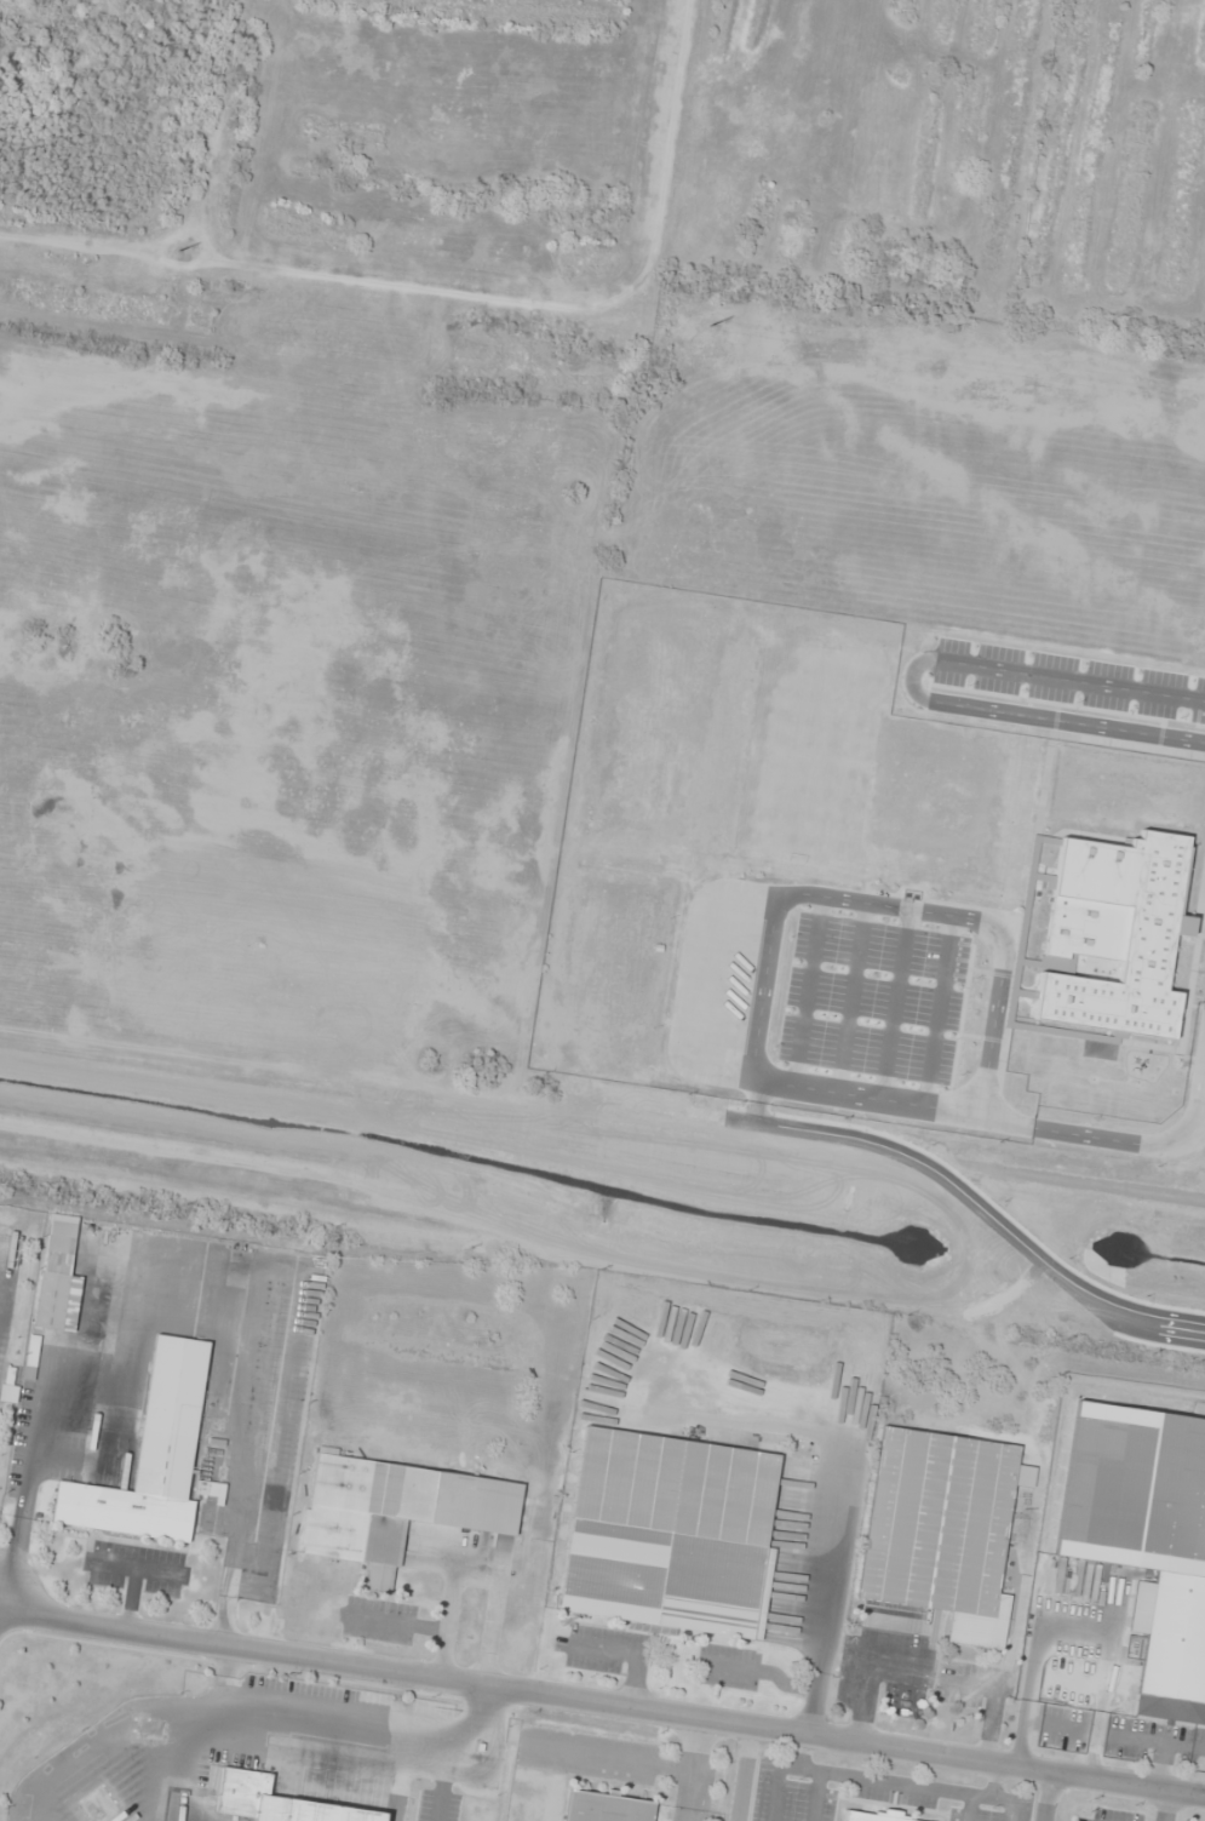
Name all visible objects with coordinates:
building: (57, 1279)
building: (150, 1455)
building: (395, 1506)
building: (939, 1530)
building: (669, 1533)
building: (1146, 1536)
road: (602, 1705)
building: (274, 1802)
building: (604, 1808)
building: (872, 1817)

